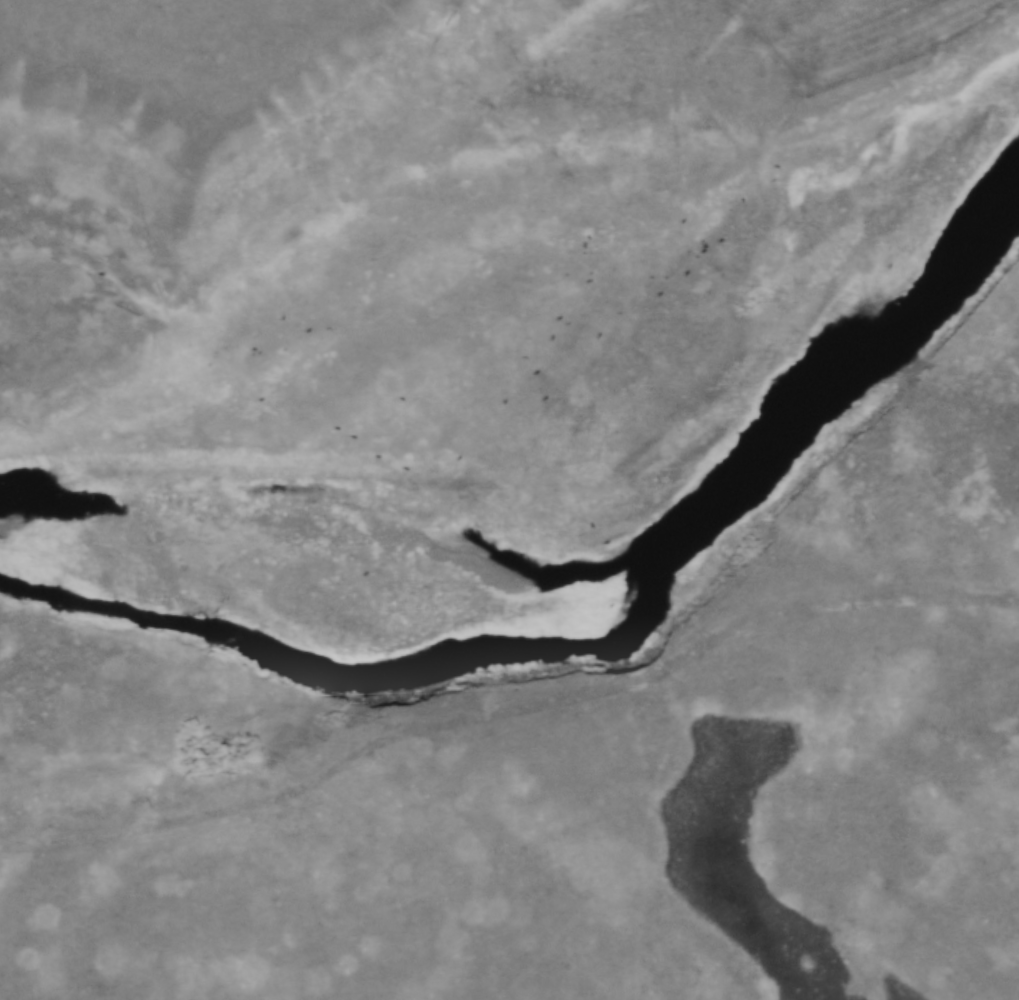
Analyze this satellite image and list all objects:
river: (608, 648)
road: (509, 704)

